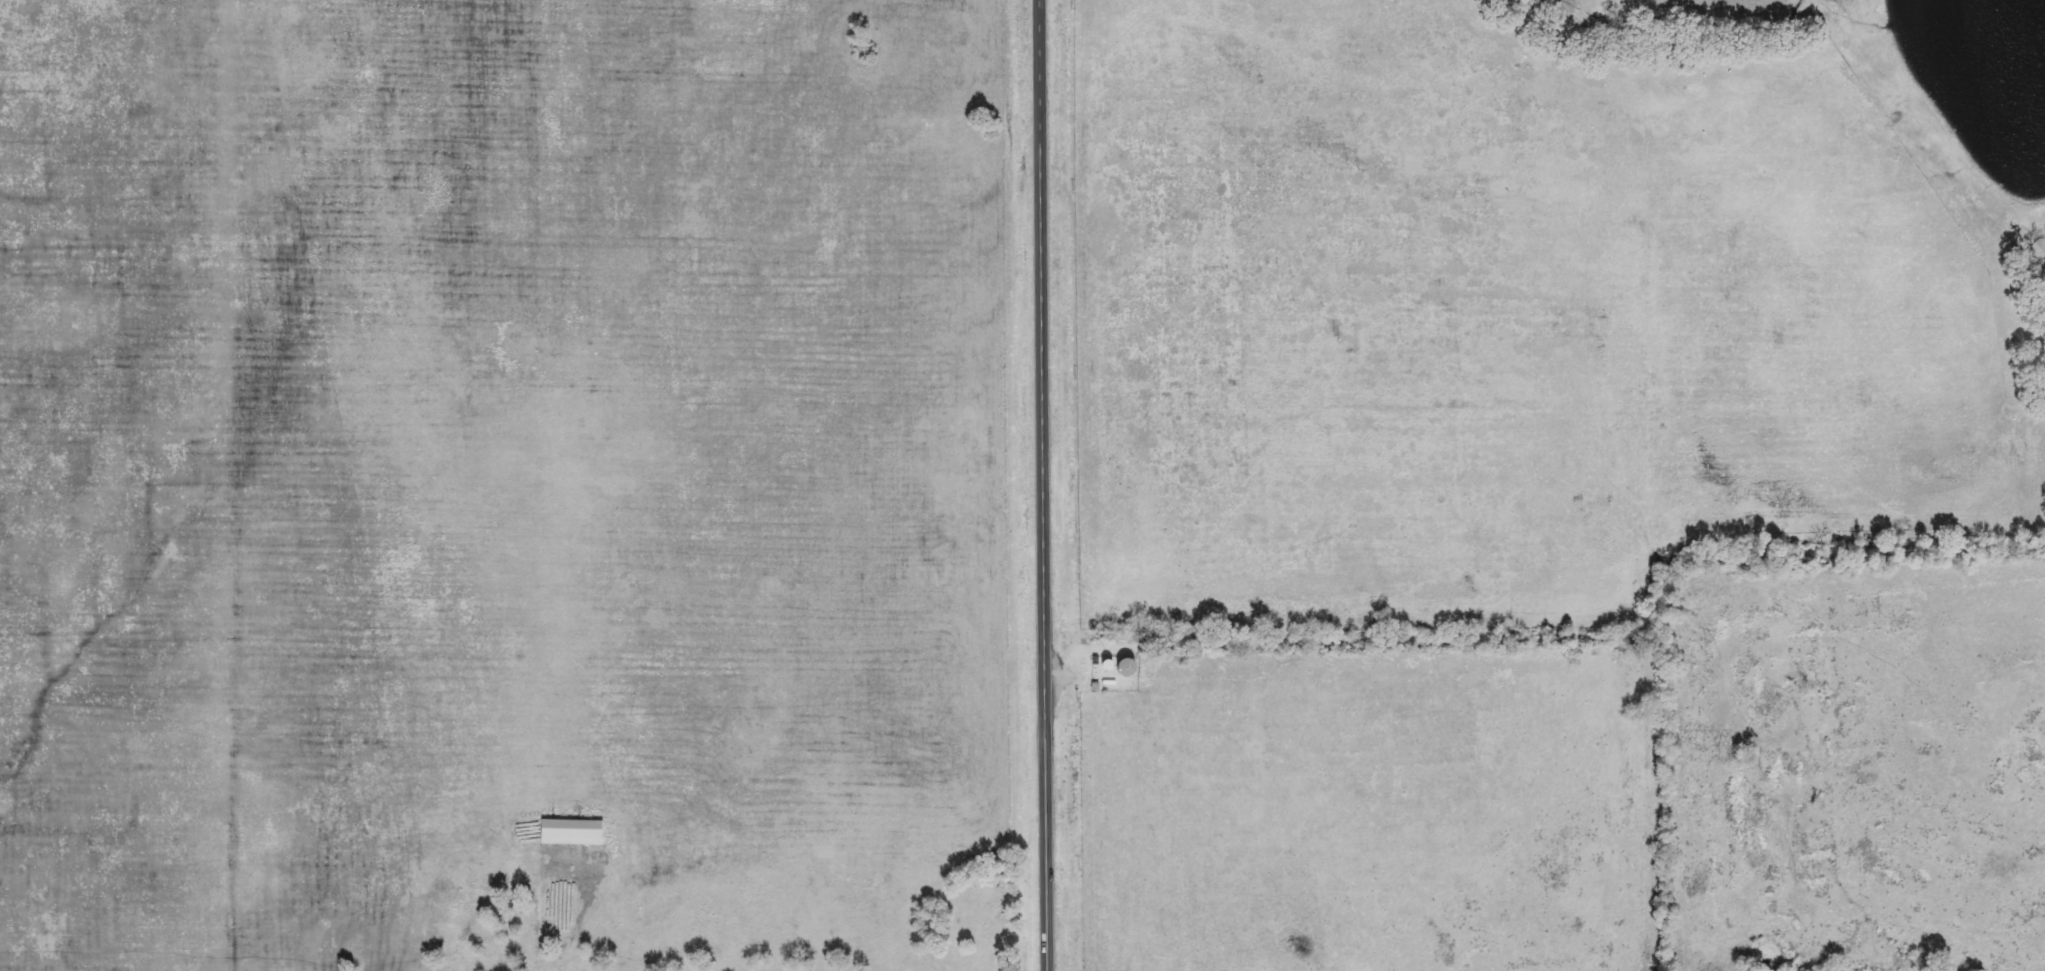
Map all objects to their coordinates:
road: (1043, 485)
building: (574, 832)

